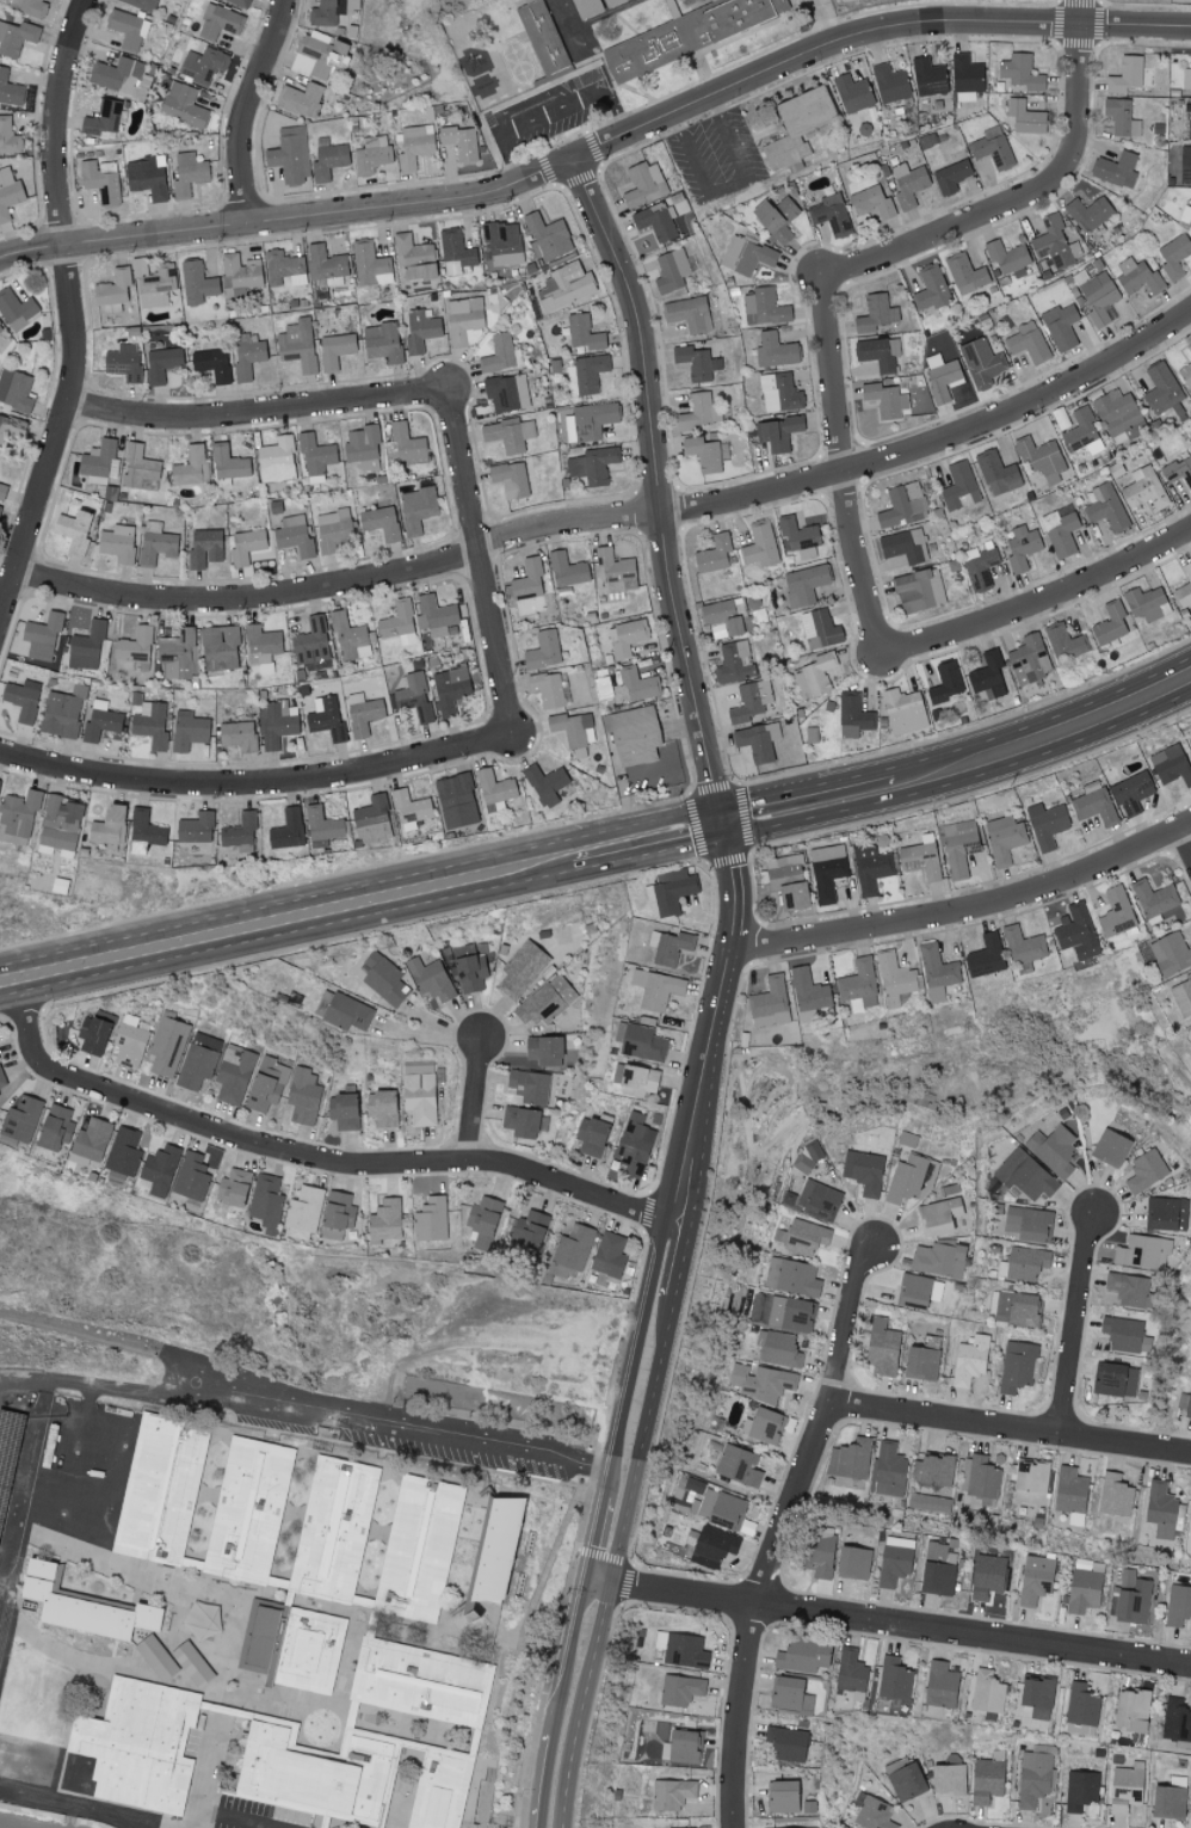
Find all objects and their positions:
building: (522, 0)
building: (711, 0)
building: (141, 4)
building: (239, 4)
building: (600, 6)
building: (29, 7)
building: (331, 11)
road: (1080, 13)
road: (825, 21)
building: (218, 23)
road: (1013, 25)
building: (128, 29)
building: (548, 36)
building: (16, 37)
building: (695, 37)
building: (319, 55)
building: (204, 64)
road: (776, 70)
building: (1020, 72)
building: (965, 74)
building: (1124, 75)
building: (119, 76)
building: (928, 78)
building: (1186, 79)
building: (890, 84)
building: (10, 90)
building: (852, 93)
building: (301, 99)
building: (181, 104)
road: (693, 106)
road: (246, 112)
parking lot: (548, 112)
road: (549, 115)
building: (1024, 117)
building: (101, 118)
building: (1121, 118)
road: (648, 127)
building: (797, 127)
building: (1187, 129)
building: (8, 139)
building: (461, 142)
building: (415, 146)
building: (992, 148)
road: (598, 149)
building: (290, 155)
building: (371, 155)
building: (327, 160)
building: (1184, 165)
building: (1115, 170)
building: (187, 174)
building: (950, 177)
building: (146, 178)
building: (101, 181)
building: (642, 184)
building: (908, 184)
road: (728, 187)
building: (8, 193)
road: (1018, 201)
building: (871, 202)
building: (1088, 213)
building: (831, 214)
building: (1185, 215)
building: (775, 217)
building: (654, 222)
road: (289, 223)
building: (547, 236)
building: (502, 242)
building: (1051, 244)
building: (455, 251)
building: (745, 254)
building: (1006, 256)
building: (1173, 256)
building: (413, 258)
building: (325, 261)
building: (370, 264)
building: (284, 267)
building: (671, 270)
building: (239, 273)
building: (965, 273)
building: (1137, 277)
building: (332, 281)
building: (197, 282)
building: (154, 283)
building: (564, 285)
building: (113, 288)
building: (930, 288)
building: (1096, 294)
building: (764, 306)
building: (16, 308)
road: (67, 312)
building: (689, 313)
building: (875, 313)
building: (462, 318)
building: (1060, 326)
building: (419, 330)
building: (0, 332)
building: (584, 332)
building: (382, 341)
building: (1026, 341)
building: (297, 343)
building: (1189, 347)
building: (334, 350)
building: (773, 350)
building: (498, 352)
building: (878, 352)
building: (247, 355)
building: (982, 361)
building: (123, 362)
building: (696, 362)
building: (160, 363)
building: (211, 363)
building: (590, 373)
building: (1185, 374)
building: (940, 377)
building: (1161, 388)
building: (14, 389)
building: (506, 392)
building: (778, 392)
building: (699, 411)
road: (253, 413)
building: (1118, 414)
building: (591, 419)
building: (1082, 431)
building: (777, 432)
building: (508, 433)
road: (937, 442)
building: (403, 443)
building: (362, 447)
building: (315, 454)
building: (703, 454)
building: (1041, 457)
building: (276, 460)
building: (99, 461)
building: (228, 464)
building: (592, 464)
building: (191, 466)
building: (138, 468)
road: (841, 469)
building: (1179, 469)
building: (996, 473)
building: (510, 479)
building: (958, 486)
building: (1, 488)
road: (658, 488)
building: (1143, 488)
building: (901, 505)
building: (1106, 507)
building: (415, 509)
building: (379, 522)
building: (1059, 522)
building: (73, 530)
building: (332, 530)
building: (796, 534)
building: (294, 535)
building: (117, 542)
building: (155, 543)
building: (245, 544)
building: (760, 544)
building: (902, 544)
building: (1020, 546)
building: (204, 547)
building: (712, 553)
road: (475, 561)
building: (979, 567)
building: (566, 570)
building: (615, 570)
building: (527, 580)
road: (340, 581)
building: (804, 583)
building: (1184, 587)
building: (918, 589)
road: (1044, 596)
building: (1146, 603)
building: (434, 615)
building: (724, 616)
building: (397, 623)
building: (1109, 623)
building: (820, 626)
building: (41, 635)
building: (627, 636)
building: (348, 638)
building: (1063, 641)
building: (134, 645)
building: (311, 645)
building: (85, 646)
building: (261, 647)
building: (218, 648)
building: (543, 650)
building: (178, 654)
building: (1029, 657)
building: (734, 663)
building: (814, 675)
building: (987, 676)
building: (944, 682)
building: (634, 685)
building: (547, 688)
building: (451, 689)
building: (413, 696)
building: (21, 698)
building: (749, 700)
building: (902, 710)
building: (61, 712)
building: (362, 713)
building: (852, 715)
building: (325, 718)
building: (100, 720)
building: (150, 724)
building: (573, 727)
building: (187, 730)
building: (237, 734)
building: (632, 735)
road: (1044, 740)
building: (755, 741)
building: (1172, 765)
building: (544, 783)
road: (255, 786)
building: (494, 789)
building: (1130, 793)
building: (456, 800)
building: (1092, 804)
road: (807, 806)
building: (411, 810)
building: (17, 815)
building: (372, 819)
building: (58, 821)
building: (322, 824)
building: (1045, 824)
traffic signals: (723, 825)
building: (107, 827)
building: (144, 827)
building: (195, 827)
building: (288, 829)
building: (239, 830)
building: (1004, 838)
road: (1185, 841)
building: (958, 847)
road: (652, 856)
building: (920, 857)
building: (871, 867)
building: (827, 870)
road: (735, 879)
building: (786, 881)
road: (362, 890)
building: (669, 890)
building: (1154, 899)
road: (969, 911)
building: (1117, 915)
building: (1075, 933)
road: (286, 934)
building: (1023, 944)
building: (668, 946)
building: (1170, 953)
building: (983, 956)
building: (468, 968)
building: (520, 970)
building: (936, 972)
building: (383, 978)
building: (430, 979)
building: (894, 979)
building: (858, 985)
building: (655, 989)
building: (808, 990)
building: (1183, 996)
building: (545, 1001)
building: (769, 1003)
building: (346, 1011)
building: (93, 1032)
road: (428, 1035)
building: (1190, 1036)
building: (130, 1040)
building: (642, 1042)
building: (167, 1046)
building: (543, 1050)
building: (198, 1060)
building: (233, 1075)
road: (703, 1078)
building: (1, 1079)
building: (635, 1079)
building: (265, 1084)
building: (527, 1087)
building: (419, 1094)
building: (302, 1096)
road: (474, 1097)
building: (382, 1107)
building: (343, 1110)
building: (20, 1119)
building: (523, 1121)
building: (55, 1127)
building: (591, 1137)
building: (906, 1138)
building: (91, 1139)
building: (632, 1144)
building: (1110, 1147)
building: (1053, 1150)
building: (124, 1152)
road: (321, 1159)
building: (158, 1170)
building: (1144, 1170)
building: (863, 1171)
building: (1024, 1175)
building: (191, 1176)
building: (907, 1178)
building: (232, 1190)
building: (265, 1202)
building: (302, 1213)
building: (1165, 1213)
building: (337, 1214)
traffic signals: (1096, 1214)
building: (938, 1215)
building: (430, 1219)
building: (384, 1220)
building: (1026, 1223)
building: (529, 1229)
building: (804, 1237)
traffic signals: (860, 1243)
building: (570, 1251)
building: (1142, 1252)
building: (609, 1255)
road: (681, 1258)
building: (938, 1258)
building: (1023, 1263)
building: (791, 1276)
building: (1128, 1288)
building: (918, 1290)
building: (1017, 1309)
building: (780, 1311)
road: (1080, 1325)
building: (1121, 1332)
road: (103, 1334)
building: (881, 1347)
building: (779, 1349)
road: (635, 1356)
building: (922, 1359)
building: (969, 1360)
building: (1017, 1366)
building: (1109, 1379)
building: (759, 1383)
road: (124, 1392)
building: (1187, 1405)
building: (761, 1426)
road: (1011, 1428)
road: (402, 1430)
parking lot: (408, 1434)
road: (646, 1440)
building: (10, 1447)
building: (850, 1459)
building: (738, 1465)
building: (889, 1470)
building: (936, 1470)
building: (980, 1479)
building: (1030, 1482)
building: (74, 1487)
building: (166, 1494)
building: (1070, 1494)
building: (1115, 1495)
building: (5, 1497)
building: (928, 1502)
building: (717, 1508)
building: (1160, 1509)
building: (252, 1518)
road: (783, 1533)
building: (338, 1534)
road: (597, 1539)
building: (712, 1545)
building: (502, 1550)
building: (816, 1553)
building: (424, 1555)
building: (0, 1556)
building: (895, 1559)
building: (851, 1562)
building: (938, 1568)
building: (988, 1576)
building: (1035, 1578)
road: (601, 1582)
building: (1085, 1584)
building: (1131, 1598)
building: (1178, 1605)
building: (92, 1611)
building: (208, 1625)
road: (902, 1625)
building: (298, 1649)
building: (684, 1651)
building: (801, 1656)
building: (179, 1663)
building: (851, 1673)
building: (893, 1679)
building: (939, 1685)
building: (426, 1686)
building: (679, 1689)
building: (986, 1692)
building: (790, 1695)
building: (1036, 1697)
road: (560, 1703)
road: (586, 1705)
building: (1081, 1705)
building: (1130, 1710)
building: (1177, 1723)
building: (786, 1743)
building: (683, 1746)
building: (146, 1752)
building: (1035, 1775)
building: (323, 1777)
road: (206, 1778)
building: (987, 1778)
building: (903, 1779)
building: (948, 1780)
building: (1124, 1789)
building: (1080, 1790)
building: (448, 1791)
building: (671, 1793)
building: (780, 1797)
building: (1168, 1799)
building: (872, 1814)
parking lot: (251, 1818)
road: (237, 1820)

